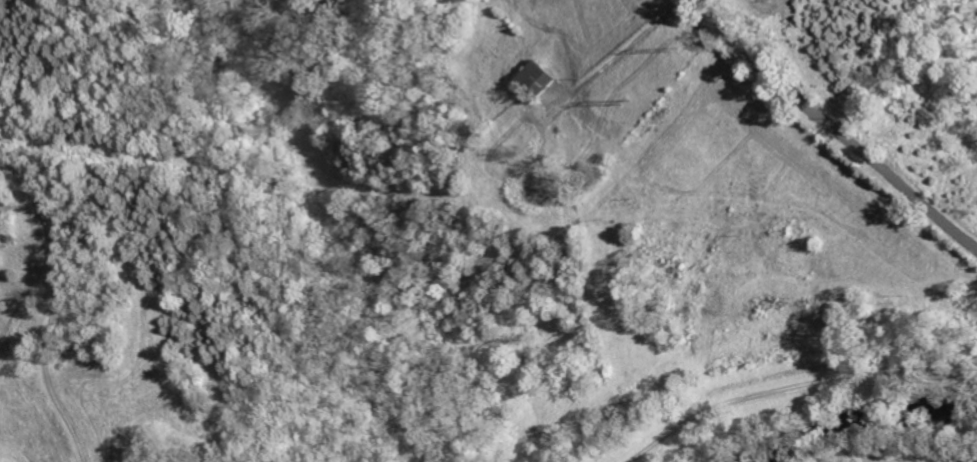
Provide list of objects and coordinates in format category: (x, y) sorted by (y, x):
building: (541, 77)
road: (835, 129)

